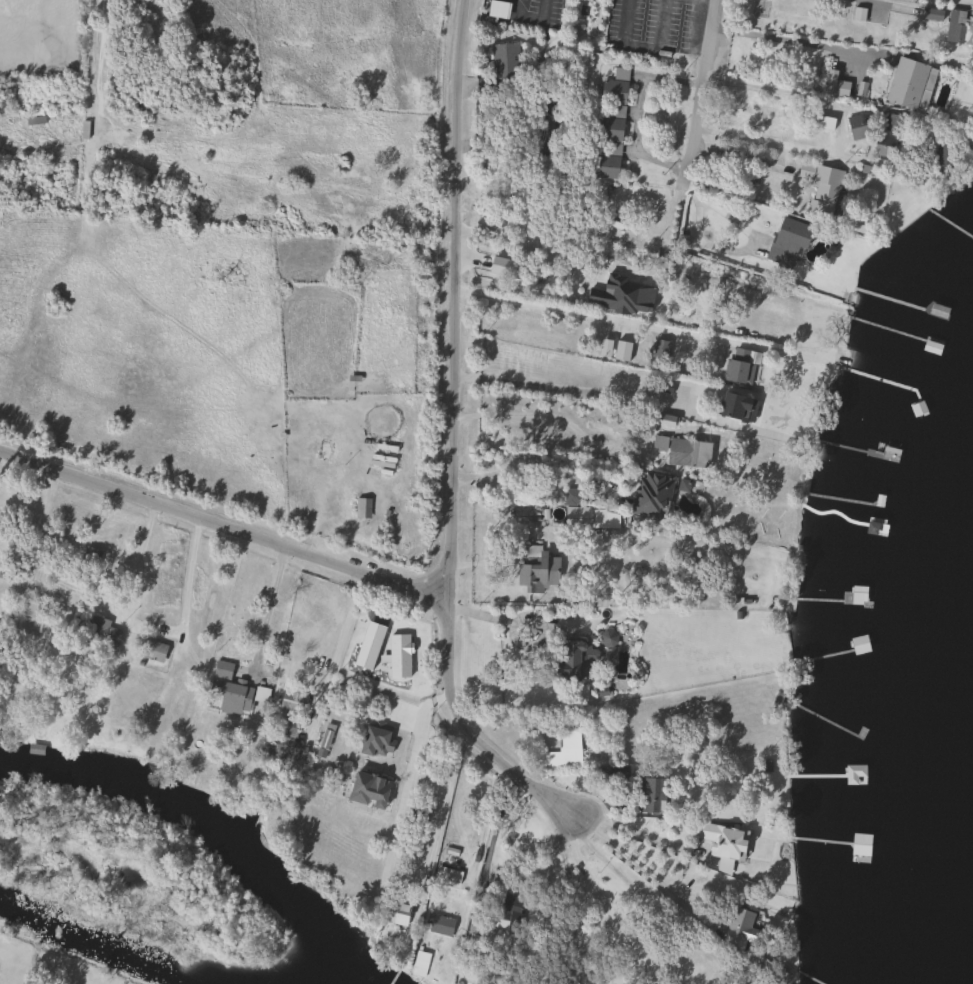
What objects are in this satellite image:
road: (891, 6)
building: (497, 9)
road: (782, 39)
building: (504, 60)
building: (908, 82)
building: (834, 84)
road: (699, 86)
building: (614, 87)
road: (792, 93)
road: (635, 114)
building: (822, 122)
building: (895, 123)
building: (856, 126)
building: (606, 144)
road: (784, 144)
building: (883, 145)
building: (824, 186)
building: (792, 235)
road: (456, 297)
road: (594, 315)
building: (931, 346)
building: (740, 366)
road: (589, 399)
building: (733, 406)
road: (542, 413)
building: (665, 421)
building: (658, 443)
building: (688, 453)
road: (538, 470)
building: (653, 491)
building: (362, 508)
building: (583, 516)
road: (221, 527)
road: (135, 557)
building: (88, 558)
road: (190, 572)
building: (539, 572)
building: (854, 596)
road: (269, 601)
building: (31, 608)
road: (508, 620)
building: (101, 632)
building: (858, 644)
road: (337, 649)
building: (152, 650)
building: (577, 660)
building: (233, 688)
building: (289, 701)
road: (461, 725)
building: (283, 740)
building: (375, 741)
building: (35, 749)
building: (562, 751)
building: (860, 780)
building: (368, 790)
building: (651, 795)
river: (186, 802)
road: (618, 826)
road: (491, 837)
building: (723, 843)
building: (860, 847)
road: (624, 853)
building: (447, 874)
building: (495, 884)
road: (572, 897)
road: (601, 899)
road: (651, 901)
building: (508, 908)
building: (438, 924)
building: (738, 929)
building: (475, 934)
river: (96, 948)
building: (419, 963)

